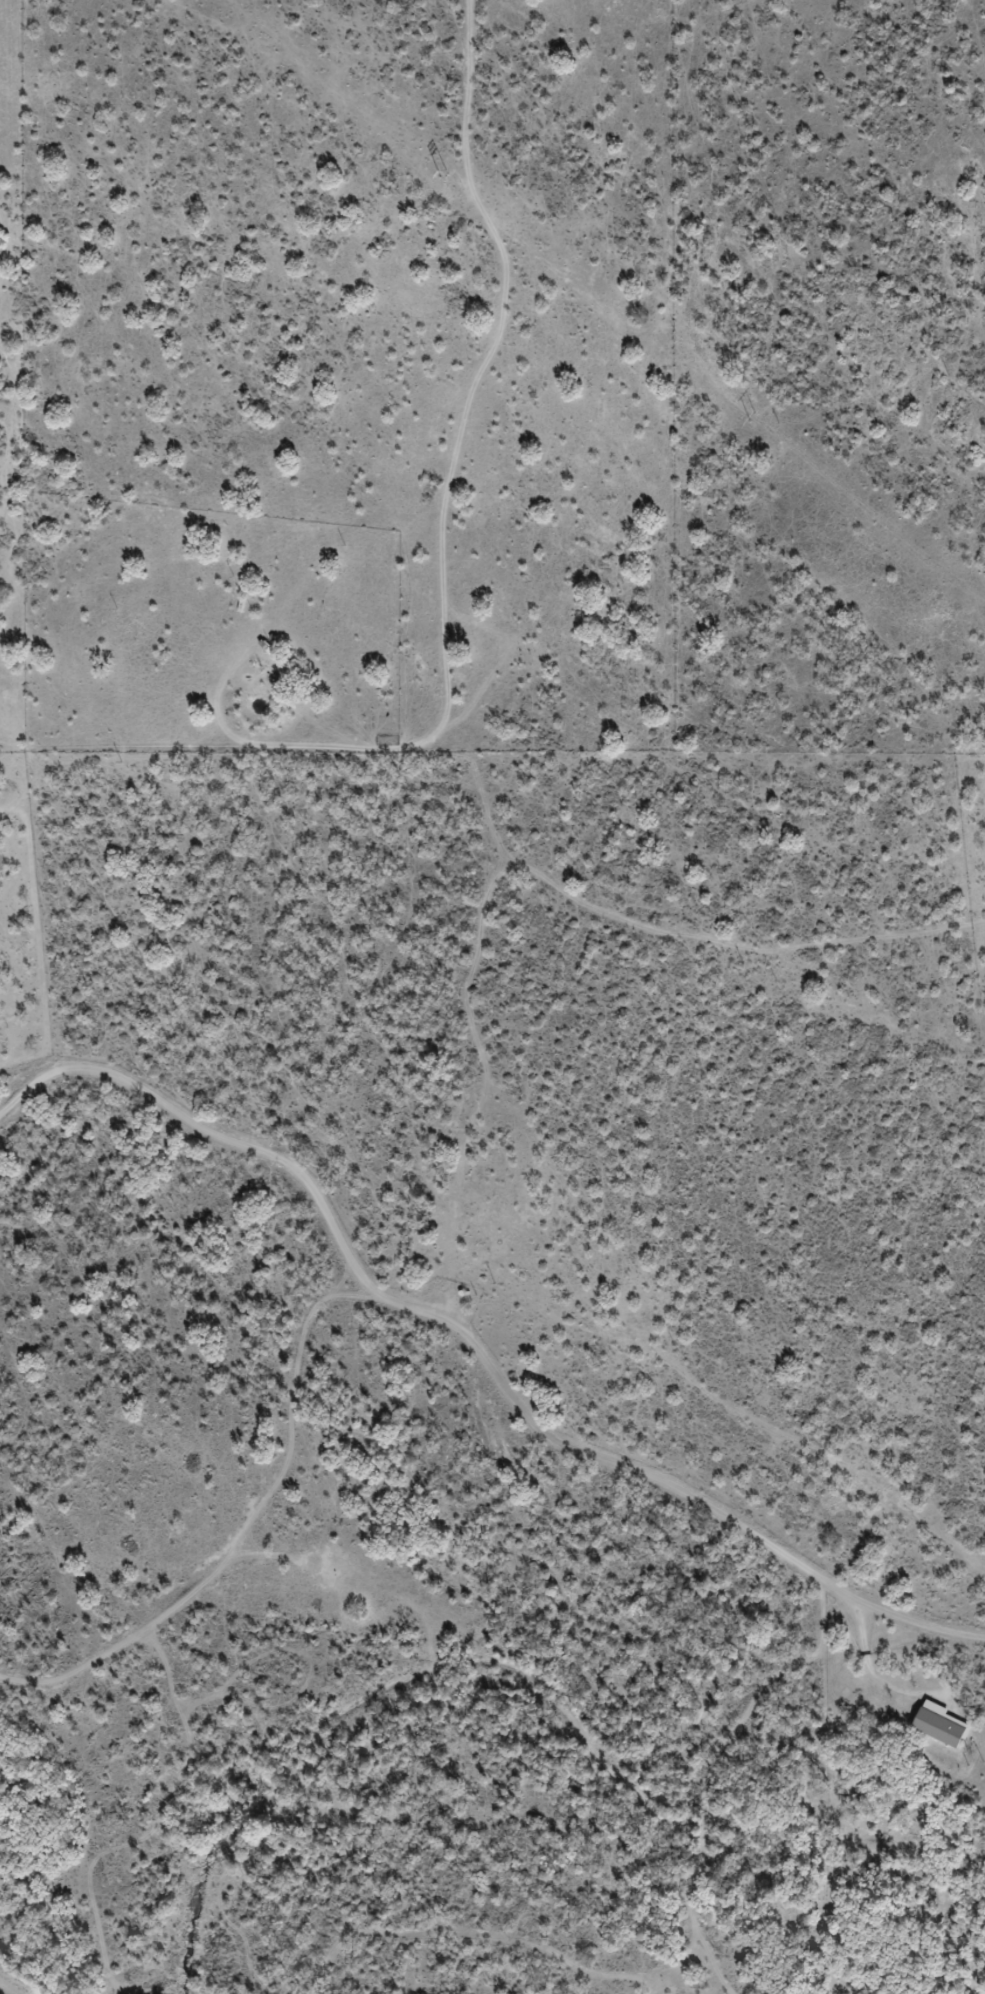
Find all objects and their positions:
power tower: (450, 173)
road: (688, 227)
power tower: (755, 422)
road: (339, 499)
road: (839, 533)
road: (441, 1345)
building: (943, 1725)
road: (741, 1793)

